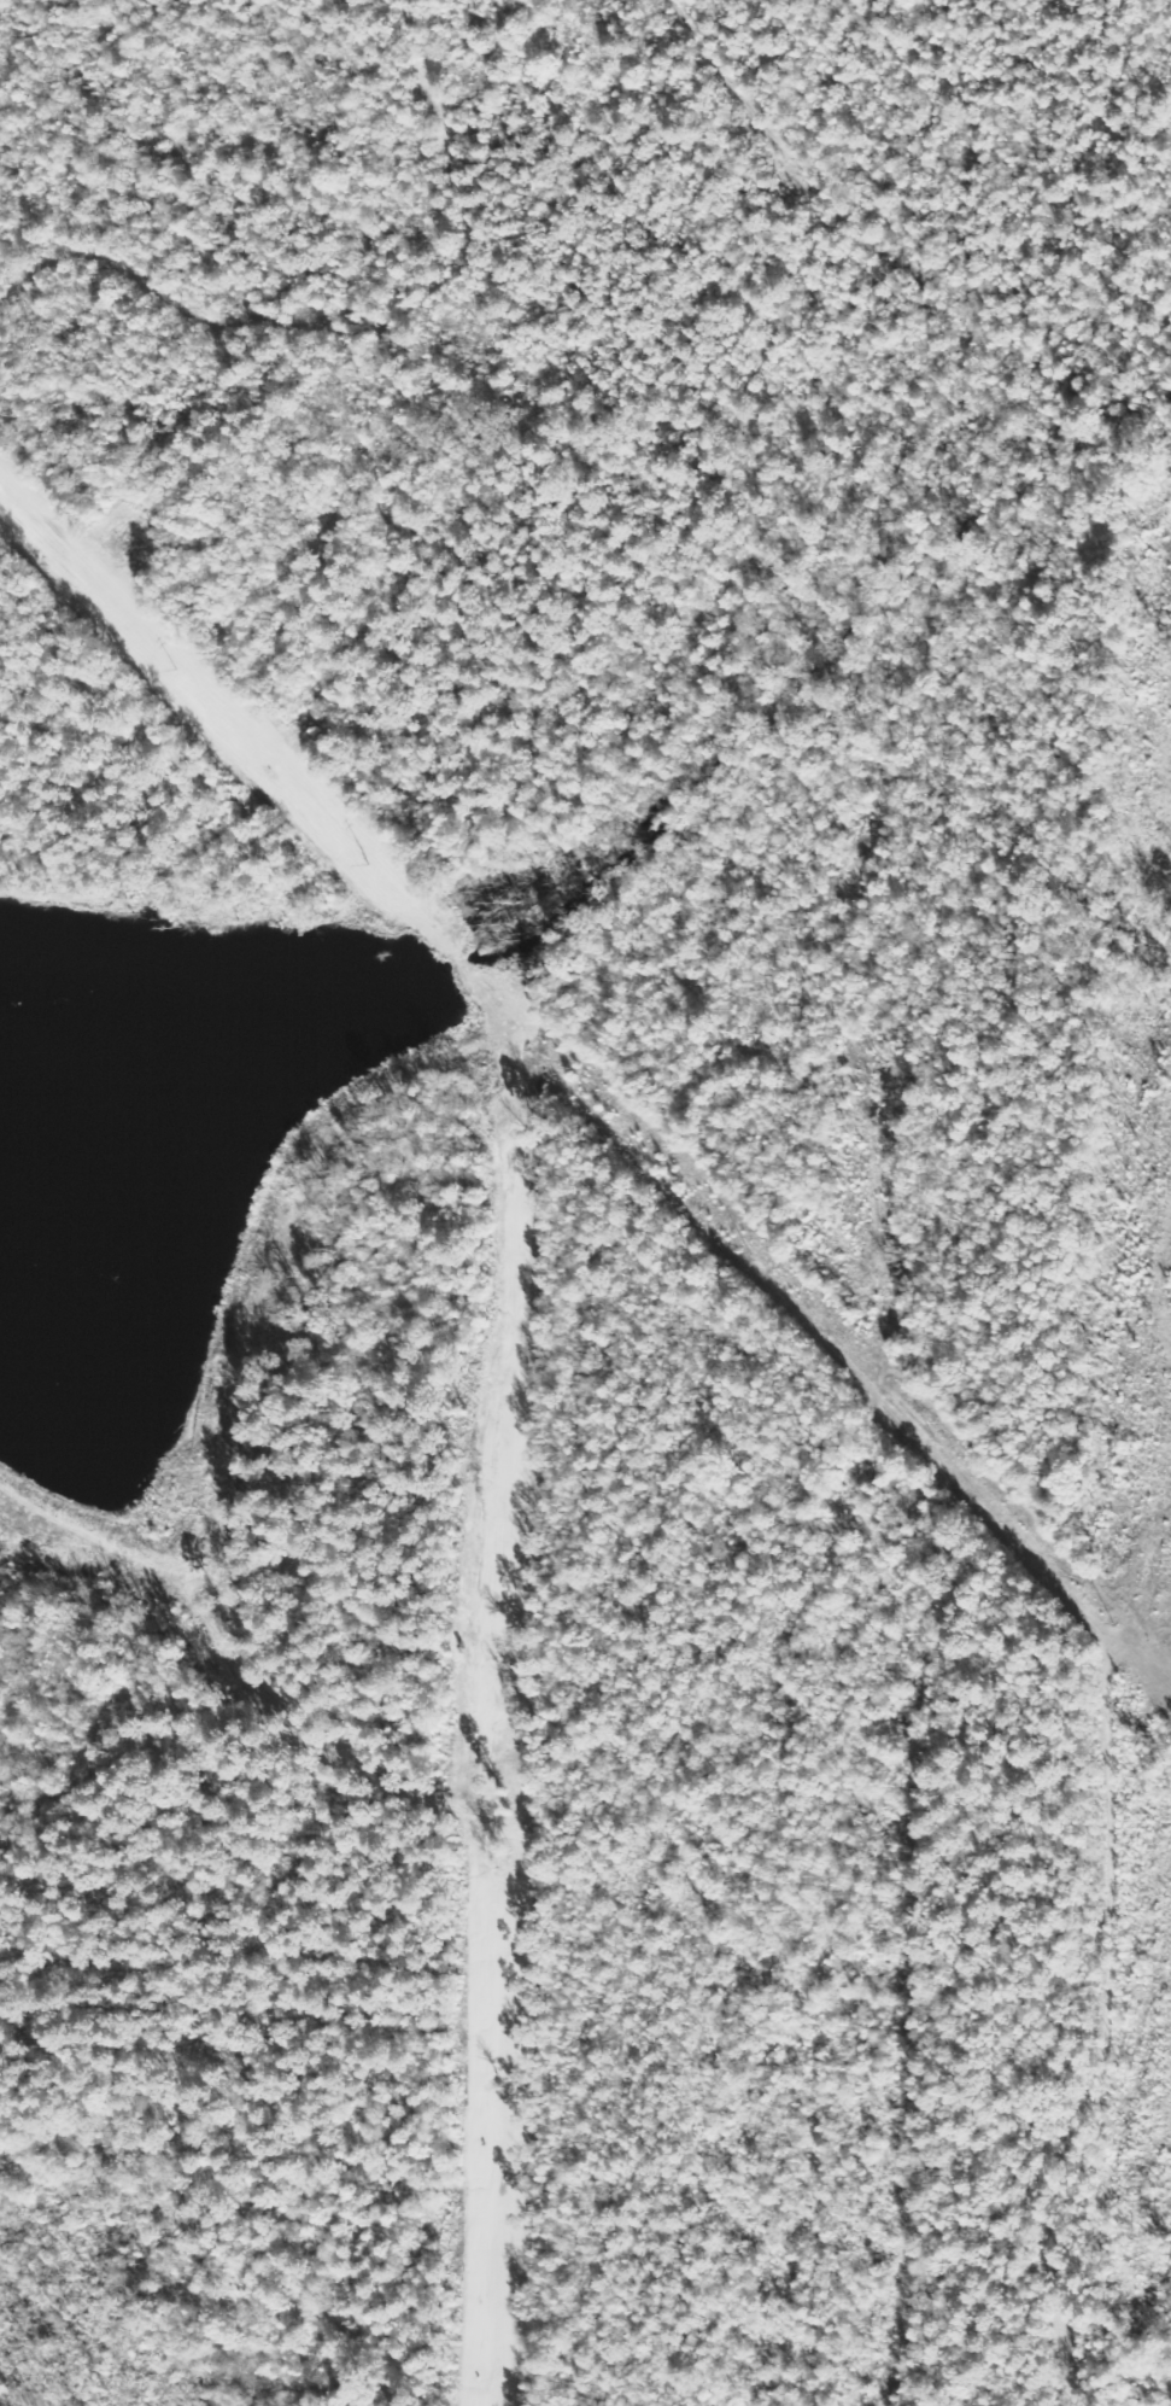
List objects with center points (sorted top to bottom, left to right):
road: (379, 287)

